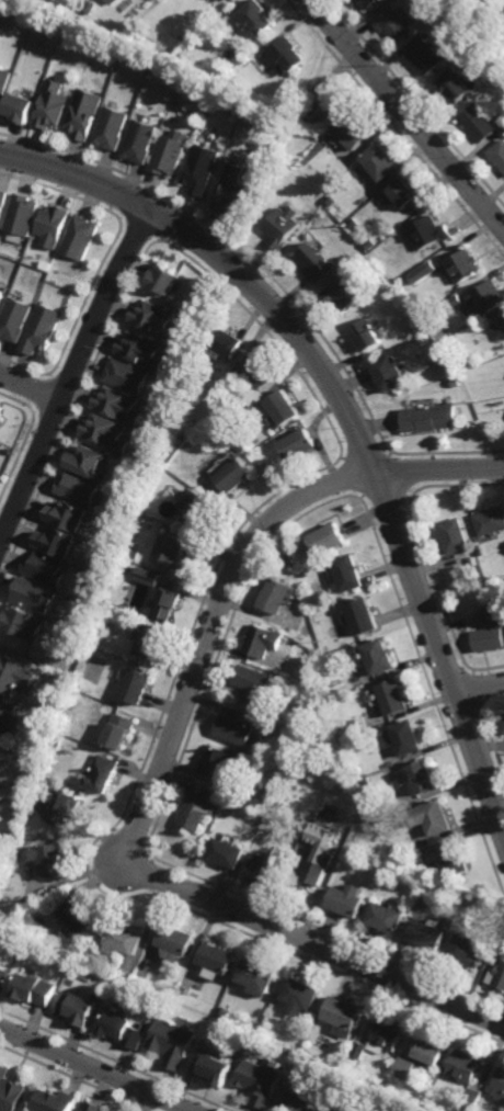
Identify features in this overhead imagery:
building: (113, 1)
building: (368, 2)
building: (255, 15)
building: (394, 23)
building: (286, 52)
building: (426, 54)
building: (254, 60)
building: (4, 81)
building: (456, 83)
building: (323, 103)
building: (53, 104)
building: (20, 106)
building: (84, 113)
road: (406, 114)
building: (479, 123)
building: (112, 127)
building: (352, 131)
building: (140, 141)
building: (289, 144)
building: (168, 152)
building: (499, 154)
building: (381, 161)
building: (199, 169)
building: (229, 190)
building: (408, 193)
building: (330, 200)
building: (3, 202)
building: (21, 217)
building: (353, 224)
building: (282, 226)
building: (53, 227)
building: (429, 233)
building: (81, 237)
building: (410, 239)
building: (370, 245)
building: (355, 250)
building: (311, 260)
building: (465, 265)
building: (423, 272)
building: (0, 280)
building: (161, 280)
building: (344, 293)
building: (2, 295)
building: (488, 299)
building: (454, 303)
building: (503, 318)
building: (14, 320)
building: (153, 320)
building: (43, 329)
building: (414, 330)
building: (367, 336)
building: (454, 340)
building: (227, 344)
building: (140, 351)
building: (255, 372)
road: (71, 373)
building: (389, 374)
building: (126, 376)
road: (30, 387)
building: (118, 406)
building: (282, 409)
road: (351, 412)
building: (1, 413)
building: (431, 419)
building: (191, 428)
building: (204, 431)
building: (106, 433)
building: (297, 446)
building: (175, 450)
building: (85, 462)
building: (264, 467)
building: (233, 477)
building: (77, 489)
building: (201, 510)
building: (66, 518)
building: (491, 524)
building: (455, 537)
building: (329, 542)
building: (55, 543)
building: (138, 553)
building: (172, 557)
building: (43, 570)
building: (348, 576)
building: (151, 580)
building: (33, 597)
building: (278, 600)
building: (167, 605)
building: (493, 615)
building: (363, 620)
building: (110, 623)
building: (22, 626)
building: (490, 642)
building: (153, 643)
building: (263, 644)
building: (379, 660)
building: (13, 674)
building: (140, 682)
building: (255, 683)
road: (480, 685)
building: (393, 696)
building: (77, 699)
building: (8, 715)
building: (503, 718)
building: (242, 725)
building: (123, 727)
building: (409, 736)
road: (165, 759)
building: (222, 759)
building: (106, 771)
building: (423, 775)
building: (78, 806)
building: (202, 806)
building: (437, 816)
building: (230, 851)
building: (318, 853)
building: (55, 858)
building: (456, 858)
building: (267, 868)
building: (347, 899)
building: (82, 915)
building: (386, 917)
building: (449, 922)
building: (428, 933)
building: (127, 938)
building: (179, 941)
building: (499, 945)
building: (467, 951)
building: (220, 960)
building: (96, 961)
building: (5, 976)
building: (256, 976)
building: (496, 976)
building: (36, 988)
building: (102, 995)
building: (299, 996)
building: (81, 1008)
building: (228, 1011)
building: (342, 1016)
building: (127, 1030)
building: (387, 1035)
building: (176, 1042)
building: (360, 1050)
building: (308, 1052)
building: (429, 1053)
building: (300, 1063)
building: (305, 1066)
building: (465, 1066)
building: (405, 1068)
road: (95, 1069)
building: (219, 1069)
building: (261, 1081)
building: (497, 1084)
building: (11, 1091)
building: (337, 1098)
building: (469, 1100)
building: (57, 1101)
building: (303, 1102)
building: (365, 1106)
building: (95, 1107)
building: (335, 1109)
building: (423, 1110)

